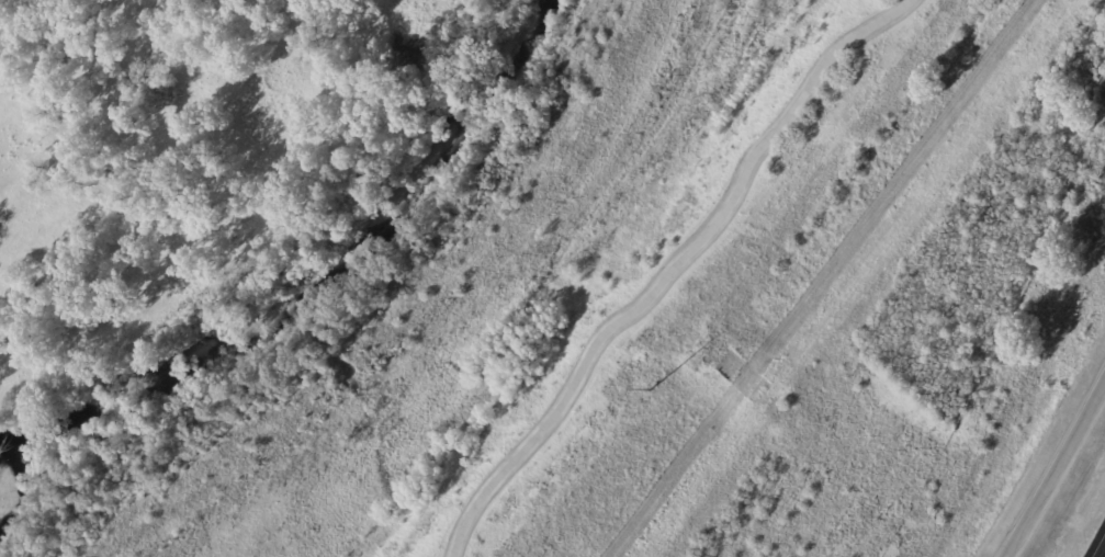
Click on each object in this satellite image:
road: (673, 268)
river: (323, 282)
power tower: (656, 391)
road: (1060, 473)
road: (1102, 553)

